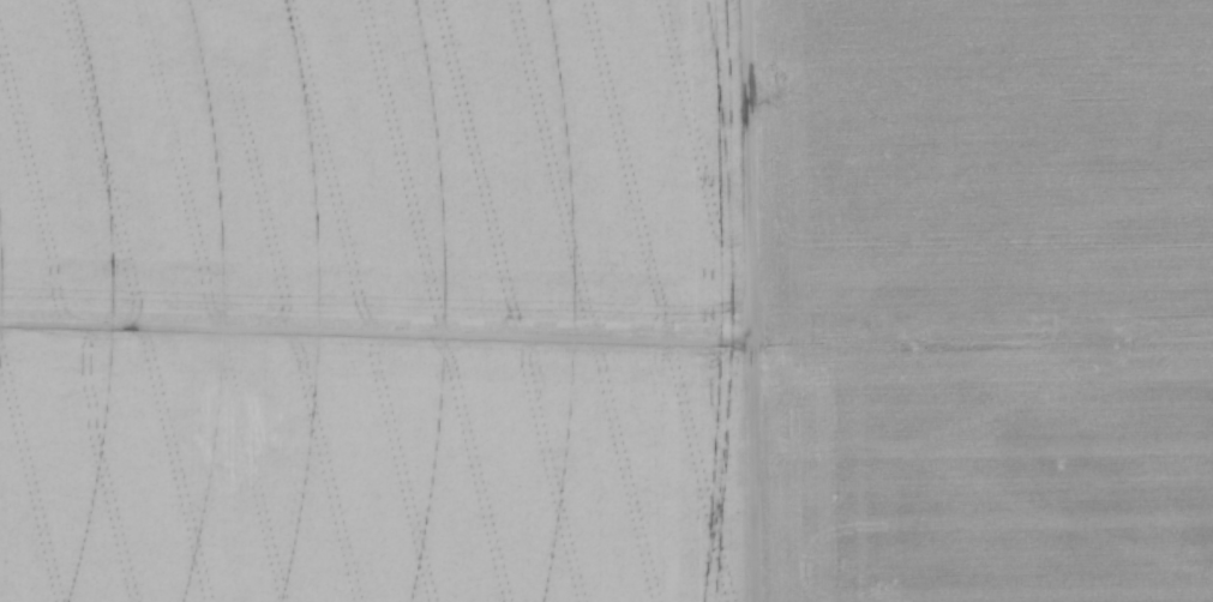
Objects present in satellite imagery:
crop: (606, 301)

